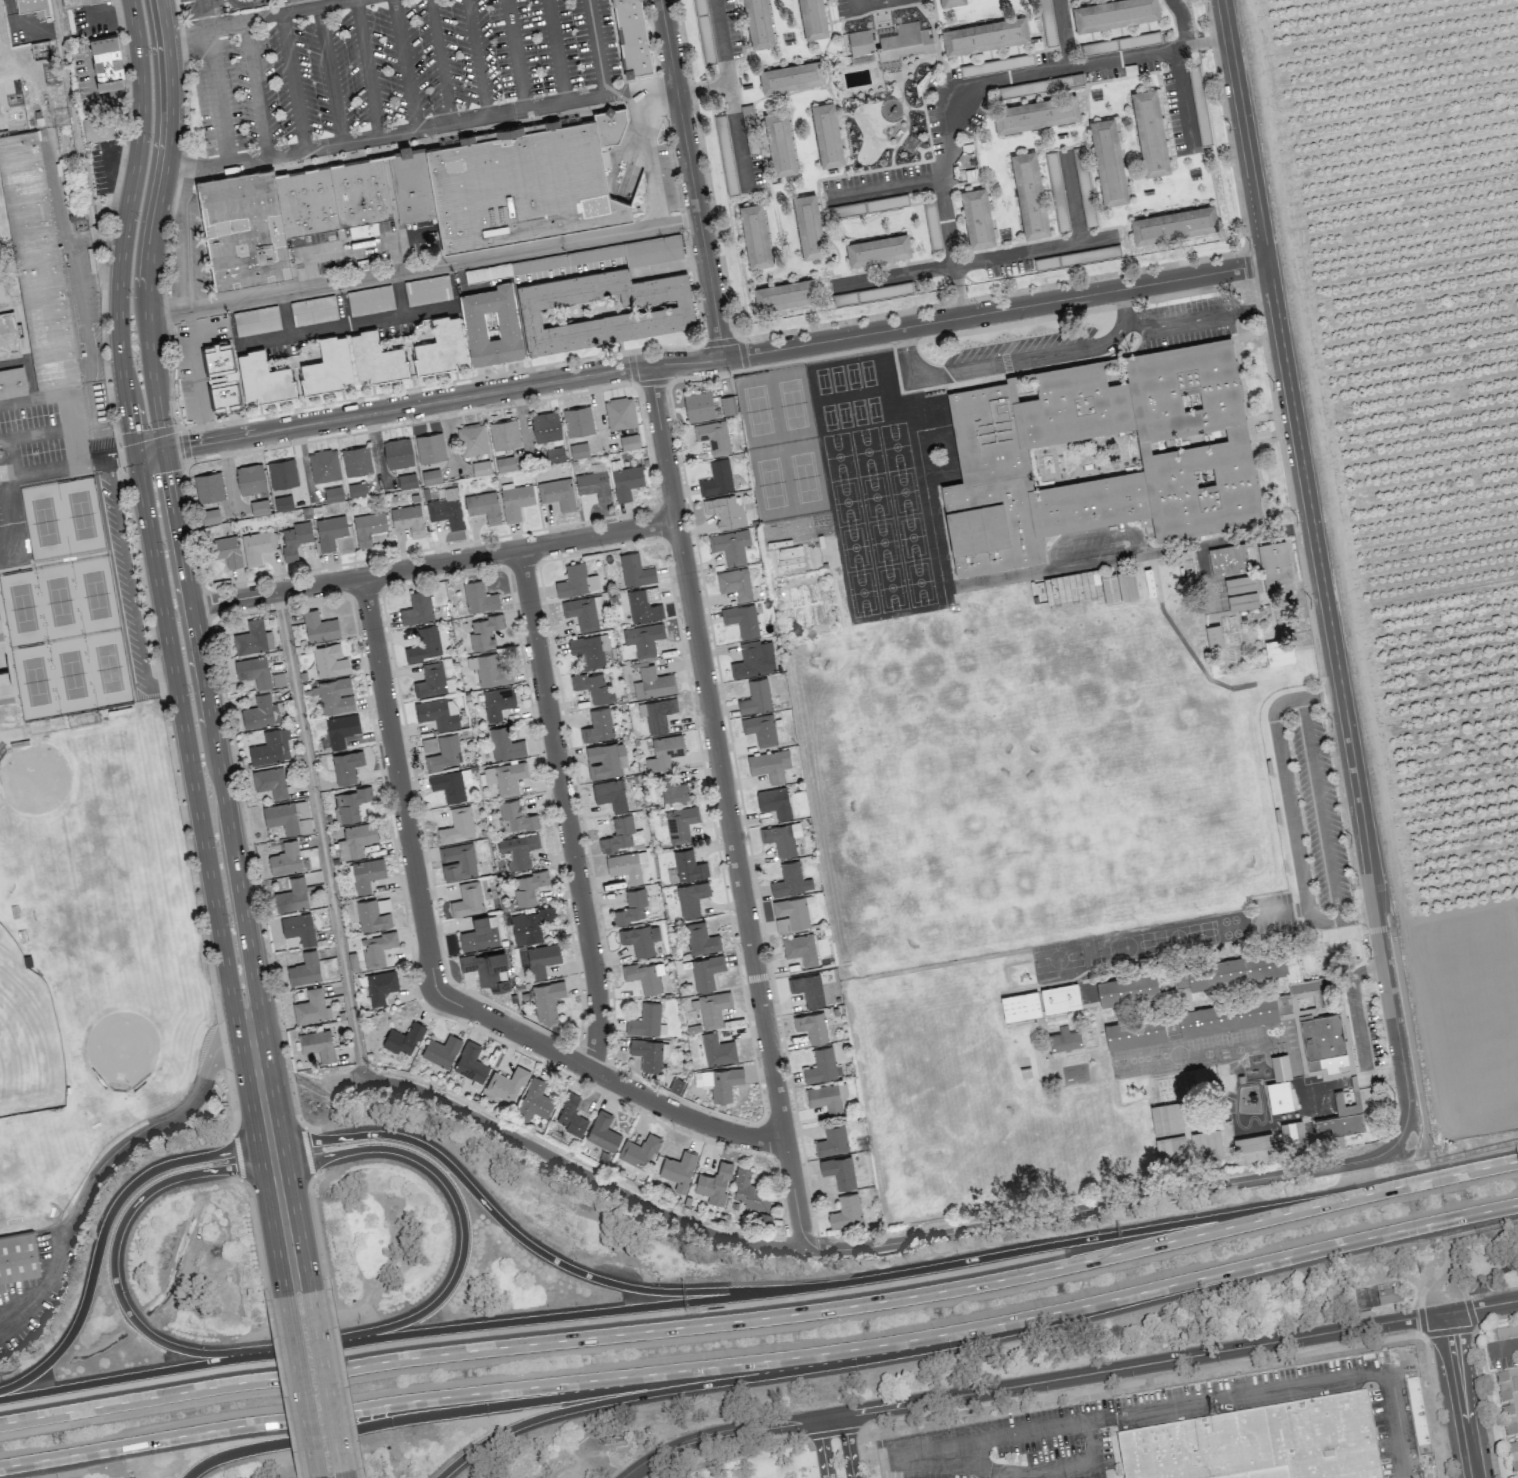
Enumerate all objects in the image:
building: (75, 2)
road: (203, 2)
building: (952, 2)
road: (244, 3)
road: (877, 6)
building: (35, 7)
parking lot: (201, 8)
road: (302, 8)
building: (1114, 14)
building: (813, 19)
road: (15, 22)
building: (759, 24)
road: (1181, 28)
road: (211, 29)
road: (1062, 33)
building: (987, 36)
building: (631, 37)
road: (1208, 40)
road: (721, 42)
building: (892, 42)
road: (595, 47)
building: (40, 50)
road: (555, 50)
road: (515, 54)
road: (476, 57)
building: (106, 61)
road: (440, 61)
road: (404, 65)
road: (1064, 67)
road: (367, 68)
parking lot: (398, 71)
road: (329, 74)
building: (791, 77)
road: (294, 80)
road: (256, 88)
road: (702, 88)
road: (217, 97)
road: (562, 101)
building: (1037, 113)
building: (609, 124)
road: (433, 126)
building: (99, 127)
building: (1150, 133)
building: (828, 135)
road: (738, 136)
building: (780, 143)
road: (311, 148)
road: (647, 153)
building: (1110, 160)
road: (187, 165)
road: (691, 179)
building: (410, 183)
building: (520, 184)
road: (888, 185)
building: (389, 186)
building: (360, 191)
building: (1030, 192)
building: (305, 200)
building: (979, 217)
road: (158, 225)
building: (1175, 225)
building: (810, 226)
road: (124, 227)
building: (242, 228)
building: (755, 237)
road: (950, 248)
building: (652, 249)
building: (876, 249)
road: (185, 252)
road: (1004, 254)
building: (37, 262)
road: (423, 268)
building: (483, 273)
road: (78, 285)
building: (427, 290)
building: (787, 294)
building: (370, 300)
building: (602, 308)
building: (314, 310)
road: (1197, 317)
building: (256, 320)
building: (491, 324)
building: (8, 336)
building: (441, 346)
building: (376, 357)
road: (716, 359)
road: (1013, 360)
building: (328, 366)
park: (866, 371)
park: (852, 374)
road: (198, 375)
building: (221, 375)
park: (837, 376)
building: (263, 377)
park: (821, 379)
building: (12, 381)
road: (636, 382)
road: (76, 393)
road: (65, 397)
park: (793, 404)
building: (727, 405)
building: (698, 406)
park: (872, 407)
park: (757, 410)
park: (857, 410)
building: (620, 413)
park: (843, 413)
park: (827, 415)
building: (578, 421)
building: (545, 426)
road: (167, 430)
traffic signals: (131, 432)
road: (41, 433)
building: (504, 434)
building: (713, 437)
building: (471, 439)
building: (629, 441)
park: (895, 445)
traffic signals: (189, 446)
building: (430, 447)
park: (866, 449)
building: (579, 450)
road: (13, 451)
road: (149, 452)
building: (398, 452)
building: (555, 454)
park: (837, 454)
building: (1102, 454)
road: (1300, 456)
traffic signals: (115, 459)
road: (106, 460)
building: (356, 460)
building: (506, 463)
building: (324, 465)
building: (481, 467)
traffic signals: (167, 472)
building: (282, 473)
road: (21, 475)
building: (431, 476)
park: (806, 477)
building: (717, 478)
building: (250, 479)
building: (407, 481)
building: (626, 481)
building: (594, 483)
park: (770, 483)
building: (208, 486)
building: (357, 489)
park: (903, 490)
building: (333, 493)
building: (557, 493)
park: (874, 495)
building: (515, 500)
park: (845, 500)
building: (283, 503)
building: (259, 506)
building: (483, 506)
building: (447, 509)
building: (726, 511)
park: (84, 516)
building: (209, 516)
building: (408, 519)
park: (47, 523)
building: (368, 527)
building: (330, 531)
park: (911, 536)
building: (295, 538)
road: (1231, 539)
park: (881, 540)
park: (853, 545)
building: (256, 546)
building: (730, 546)
building: (225, 550)
building: (1228, 559)
road: (432, 564)
building: (1274, 567)
road: (1153, 569)
building: (635, 570)
building: (576, 580)
park: (918, 581)
building: (735, 583)
building: (1239, 583)
road: (130, 586)
park: (890, 586)
building: (1117, 586)
park: (861, 591)
park: (99, 596)
building: (479, 597)
building: (1242, 600)
park: (62, 603)
building: (644, 605)
building: (417, 608)
park: (26, 609)
building: (584, 612)
building: (741, 619)
building: (319, 626)
building: (483, 631)
building: (1213, 635)
building: (253, 638)
building: (643, 638)
building: (424, 644)
building: (589, 649)
building: (1279, 651)
building: (754, 659)
building: (329, 660)
park: (111, 670)
building: (489, 670)
building: (254, 672)
park: (75, 676)
building: (278, 679)
building: (430, 680)
park: (38, 683)
building: (653, 683)
building: (593, 686)
building: (334, 695)
building: (758, 698)
building: (497, 702)
building: (260, 713)
building: (438, 713)
building: (656, 713)
building: (598, 726)
building: (760, 729)
building: (340, 730)
building: (429, 744)
building: (504, 744)
building: (271, 748)
building: (664, 752)
building: (444, 753)
building: (605, 760)
building: (769, 764)
building: (346, 766)
building: (505, 777)
building: (270, 782)
road: (398, 783)
building: (448, 785)
building: (675, 791)
building: (610, 794)
road: (1286, 795)
building: (774, 802)
building: (349, 804)
road: (725, 806)
parking lot: (1318, 806)
road: (564, 808)
road: (1320, 808)
road: (226, 813)
road: (198, 814)
building: (288, 817)
building: (680, 823)
building: (457, 825)
road: (320, 833)
building: (622, 834)
building: (781, 837)
park: (101, 840)
building: (356, 840)
building: (518, 849)
building: (285, 858)
building: (457, 861)
building: (688, 865)
building: (624, 866)
park: (1, 868)
building: (366, 874)
building: (790, 880)
building: (528, 887)
building: (292, 895)
building: (691, 898)
building: (468, 899)
road: (1380, 901)
building: (631, 907)
building: (792, 911)
road: (1281, 911)
building: (374, 914)
parking lot: (1274, 914)
road: (1357, 916)
building: (529, 925)
building: (782, 925)
building: (298, 928)
road: (1379, 929)
building: (480, 934)
road: (1325, 938)
road: (1380, 938)
building: (640, 939)
building: (701, 939)
road: (847, 944)
building: (377, 948)
building: (800, 949)
building: (542, 959)
road: (1359, 963)
road: (1325, 965)
building: (304, 969)
building: (487, 969)
building: (1235, 969)
building: (706, 971)
road: (892, 973)
building: (645, 976)
road: (753, 976)
building: (1293, 978)
building: (380, 986)
building: (807, 989)
building: (1128, 989)
building: (1060, 998)
building: (545, 1000)
building: (1019, 1005)
building: (311, 1007)
building: (712, 1008)
road: (1310, 1010)
building: (1232, 1015)
road: (1394, 1017)
park: (129, 1019)
building: (645, 1020)
building: (812, 1026)
road: (1358, 1027)
building: (1134, 1032)
parking lot: (1369, 1034)
park: (26, 1036)
building: (403, 1038)
building: (1065, 1039)
road: (1299, 1040)
building: (1324, 1042)
building: (317, 1044)
road: (1411, 1044)
building: (717, 1049)
building: (441, 1051)
building: (649, 1053)
building: (470, 1063)
road: (1351, 1064)
building: (821, 1065)
road: (604, 1077)
building: (718, 1082)
building: (506, 1084)
building: (676, 1085)
building: (826, 1097)
building: (533, 1101)
road: (1407, 1104)
building: (570, 1115)
building: (1166, 1118)
building: (1341, 1123)
building: (602, 1131)
building: (1292, 1131)
building: (832, 1139)
building: (1254, 1148)
building: (1208, 1150)
road: (1485, 1150)
building: (596, 1151)
building: (640, 1152)
building: (1171, 1152)
road: (236, 1156)
road: (99, 1165)
road: (580, 1168)
building: (678, 1170)
building: (839, 1171)
road: (1471, 1172)
building: (714, 1184)
building: (750, 1191)
road: (1106, 1205)
road: (459, 1211)
building: (846, 1211)
road: (1486, 1229)
road: (316, 1231)
road: (101, 1233)
road: (300, 1234)
road: (1118, 1234)
road: (256, 1236)
road: (272, 1236)
road: (532, 1241)
building: (17, 1257)
road: (1440, 1269)
road: (1221, 1270)
road: (112, 1272)
road: (1491, 1274)
road: (1456, 1278)
road: (1468, 1278)
road: (1491, 1291)
building: (1389, 1296)
road: (1482, 1306)
road: (547, 1318)
road: (716, 1329)
road: (1449, 1330)
building: (1506, 1331)
road: (1504, 1346)
road: (841, 1348)
road: (141, 1373)
park: (1028, 1374)
road: (342, 1377)
road: (1141, 1379)
road: (327, 1381)
road: (1030, 1381)
parking lot: (1240, 1385)
road: (283, 1387)
road: (298, 1387)
road: (674, 1388)
road: (1462, 1394)
road: (1209, 1397)
road: (377, 1400)
building: (1508, 1401)
road: (1483, 1402)
road: (1437, 1405)
road: (472, 1407)
road: (833, 1431)
parking lot: (1386, 1432)
building: (1259, 1443)
road: (847, 1445)
parking lot: (1006, 1446)
road: (822, 1447)
road: (737, 1451)
road: (930, 1454)
building: (1513, 1456)
road: (1104, 1467)
road: (1062, 1468)
road: (359, 1473)
road: (343, 1474)
road: (313, 1477)

